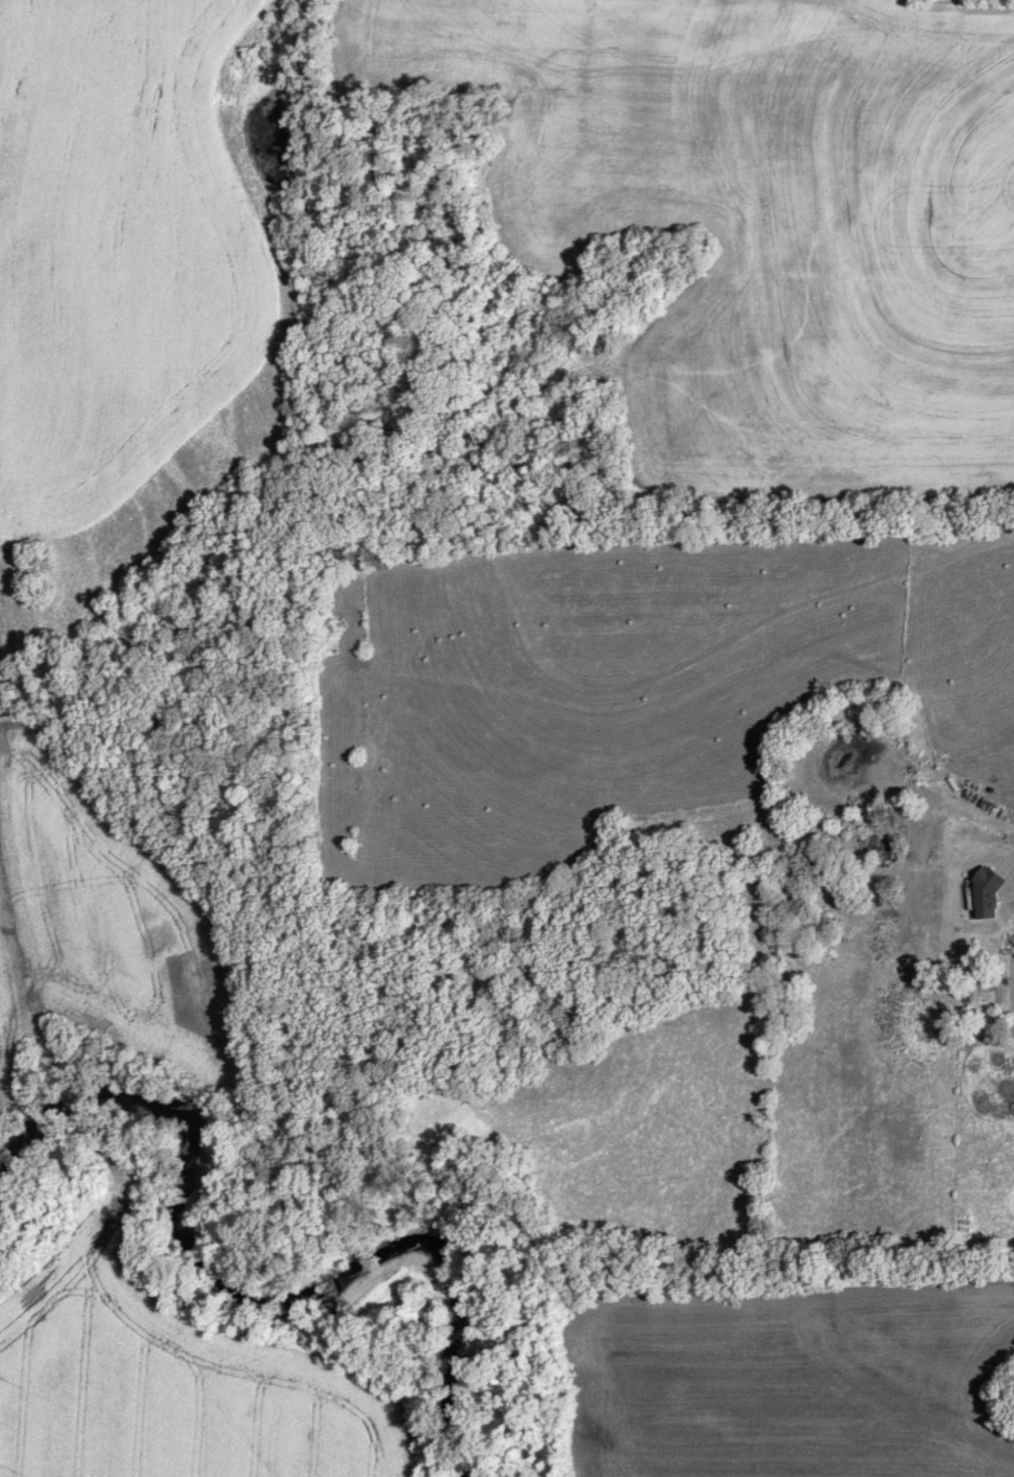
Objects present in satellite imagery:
building: (884, 848)
building: (982, 907)
building: (1011, 945)

